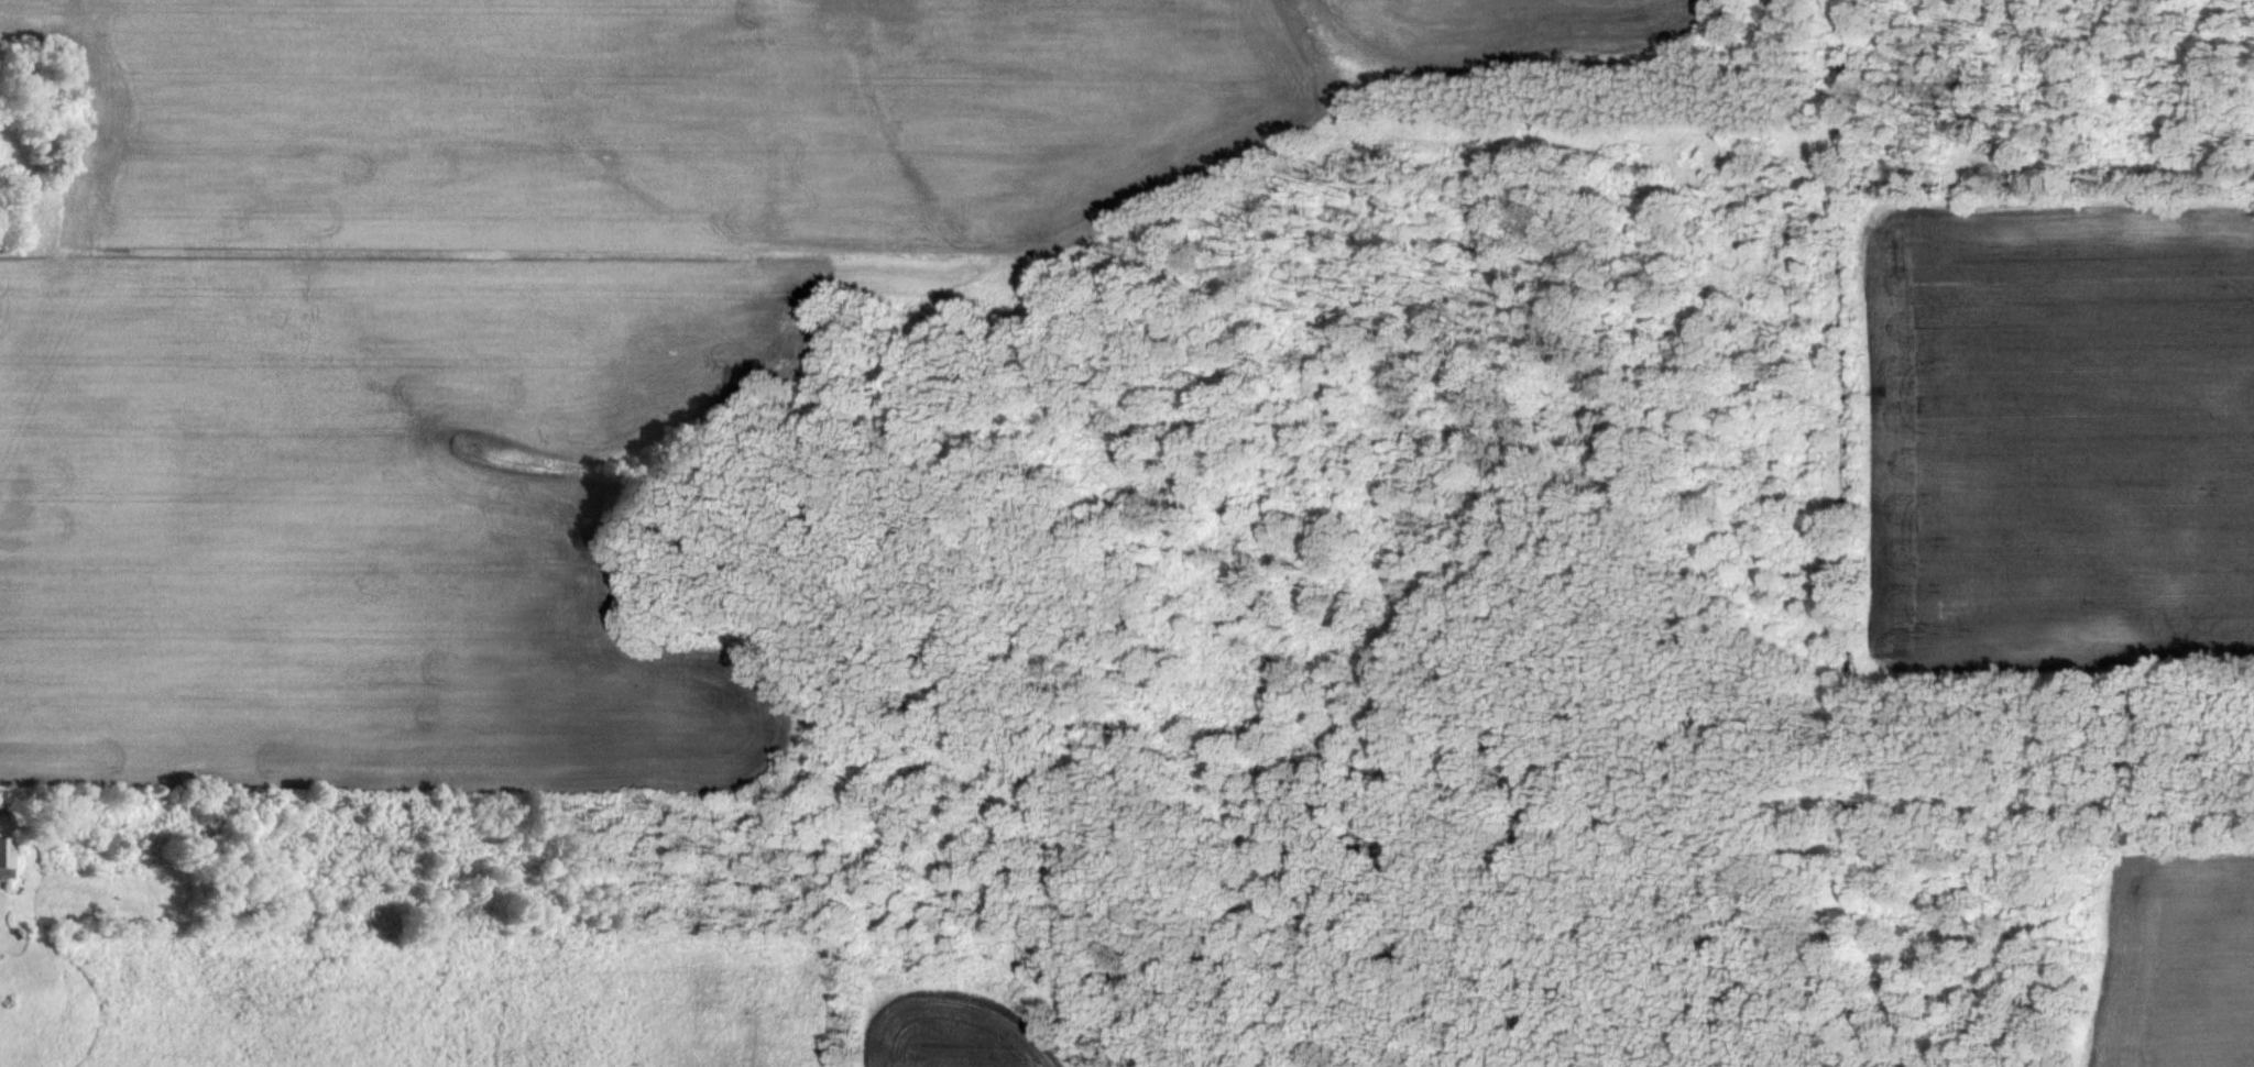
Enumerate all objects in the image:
building: (6, 858)

